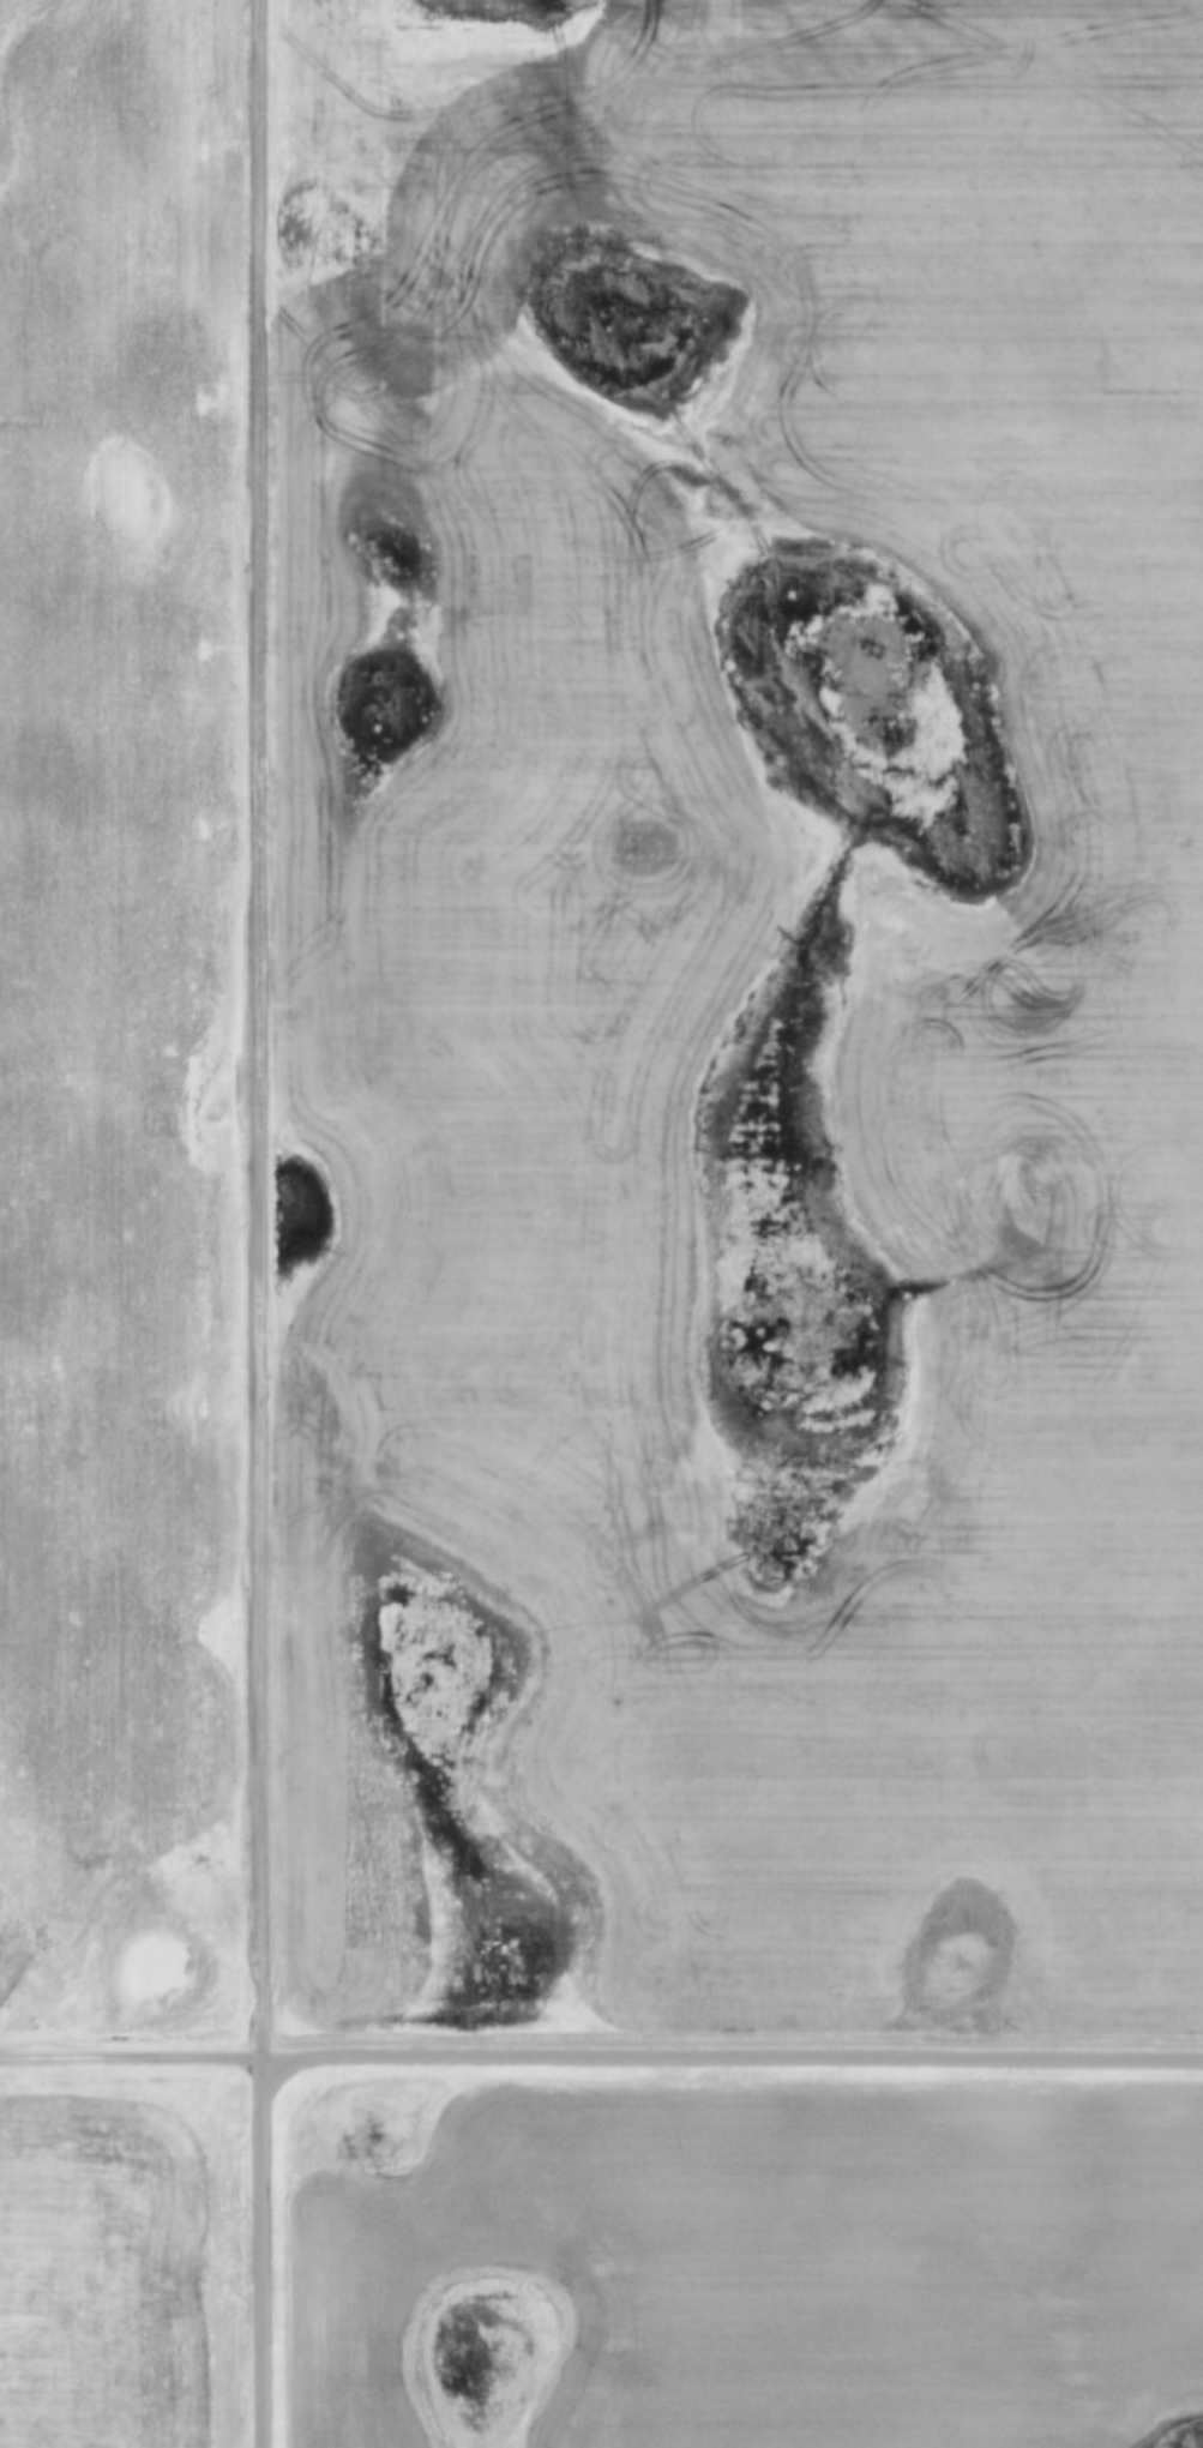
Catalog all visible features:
road: (257, 1223)
road: (128, 2057)
road: (729, 2061)

